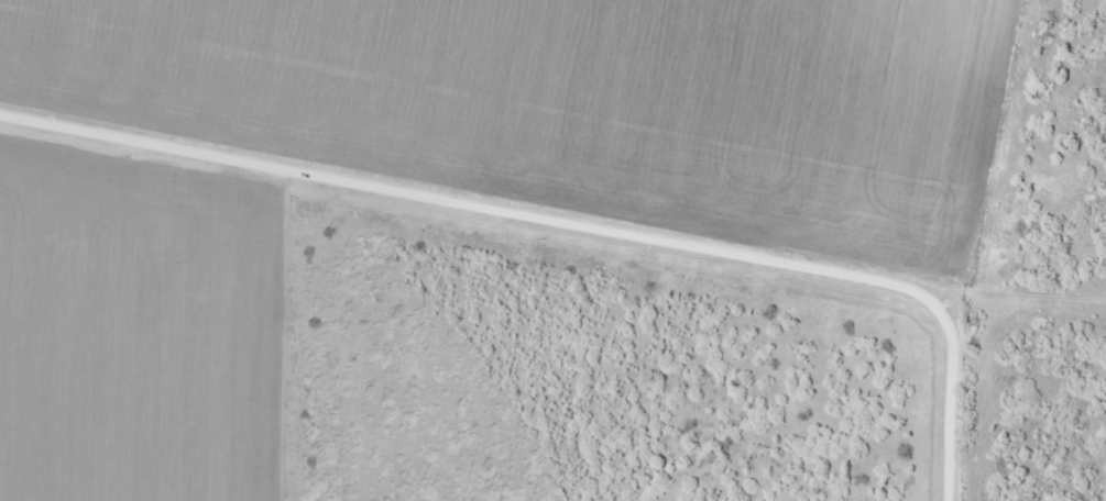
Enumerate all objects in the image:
road: (563, 231)

